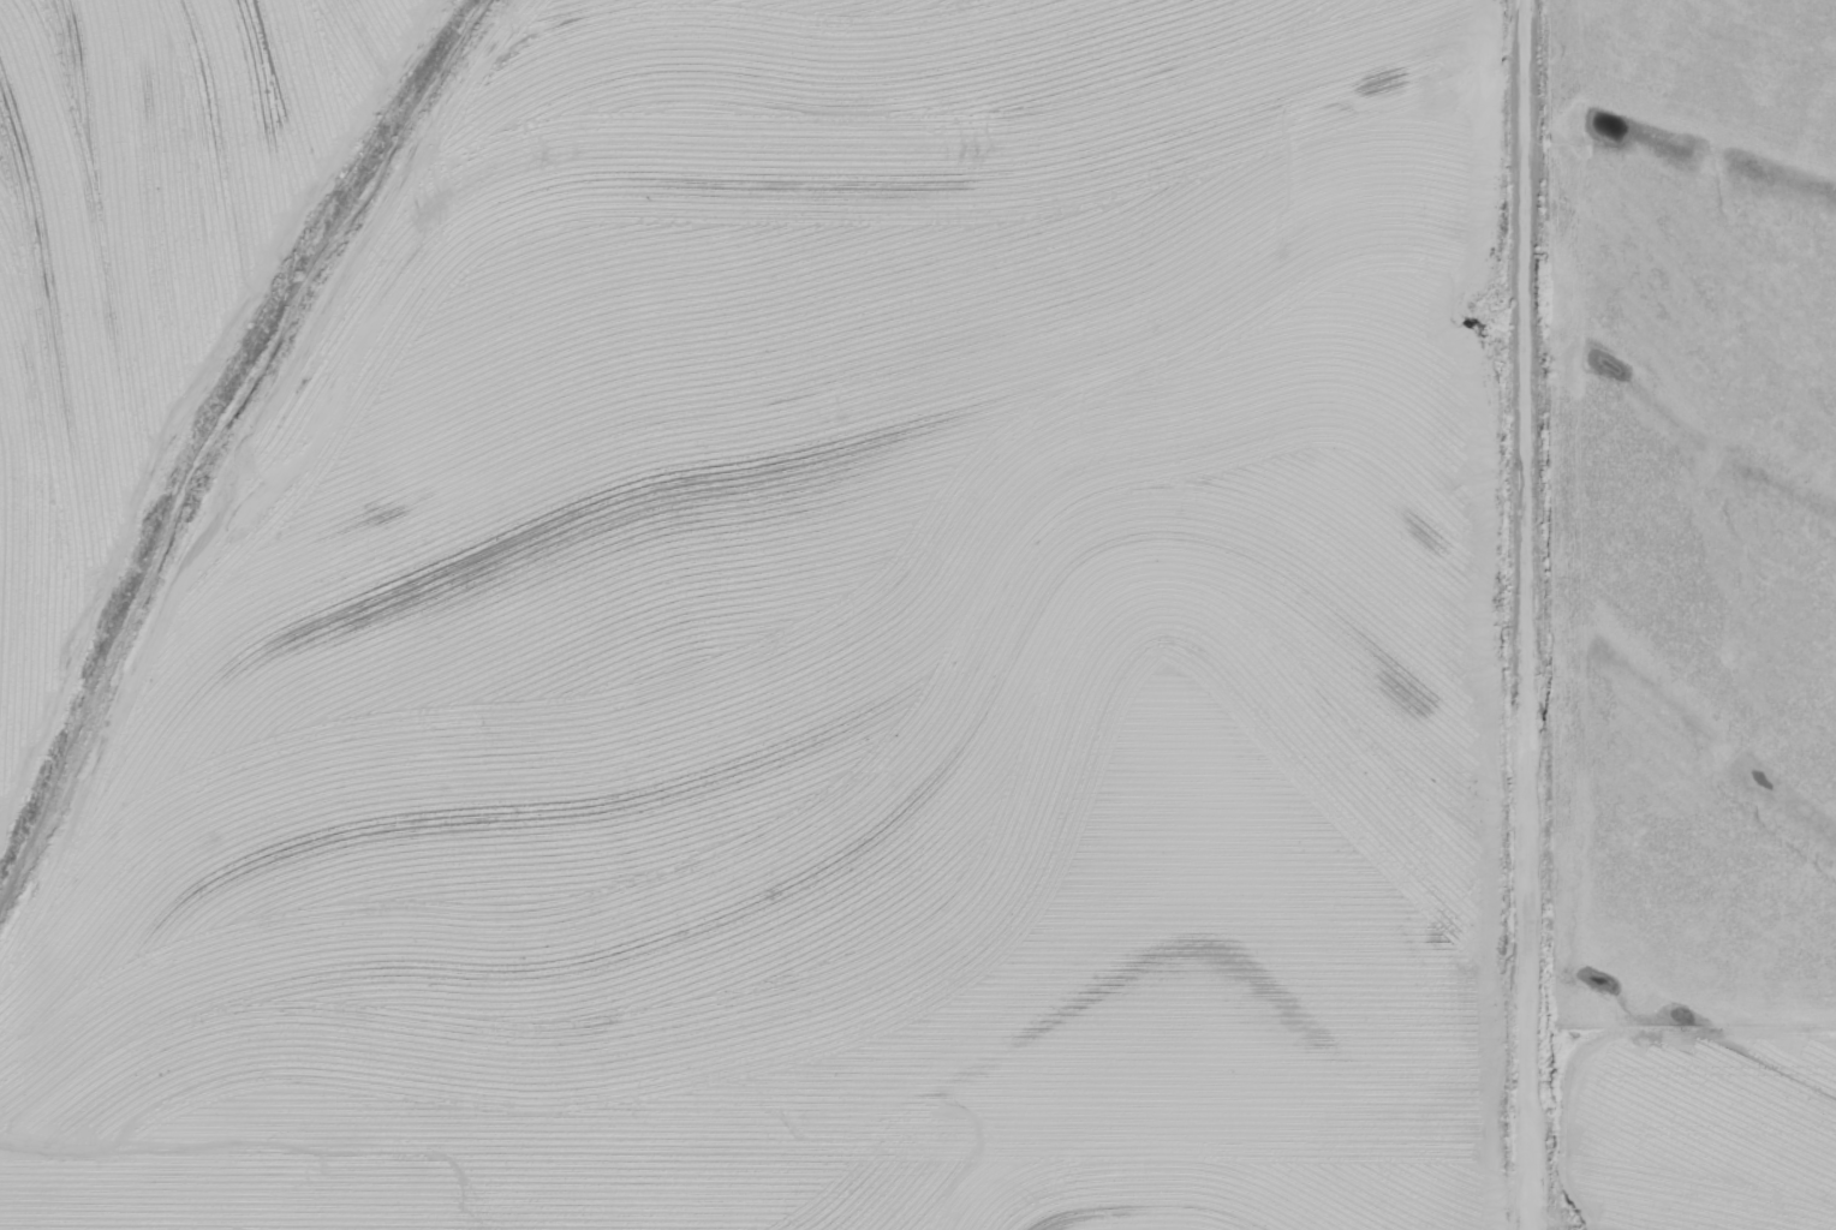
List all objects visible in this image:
road: (1531, 615)

